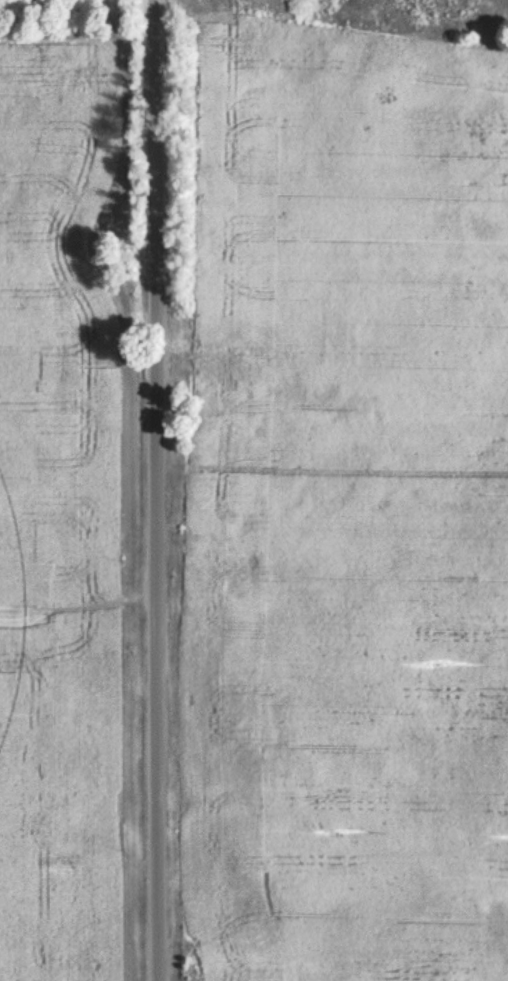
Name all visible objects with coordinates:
road: (139, 490)

